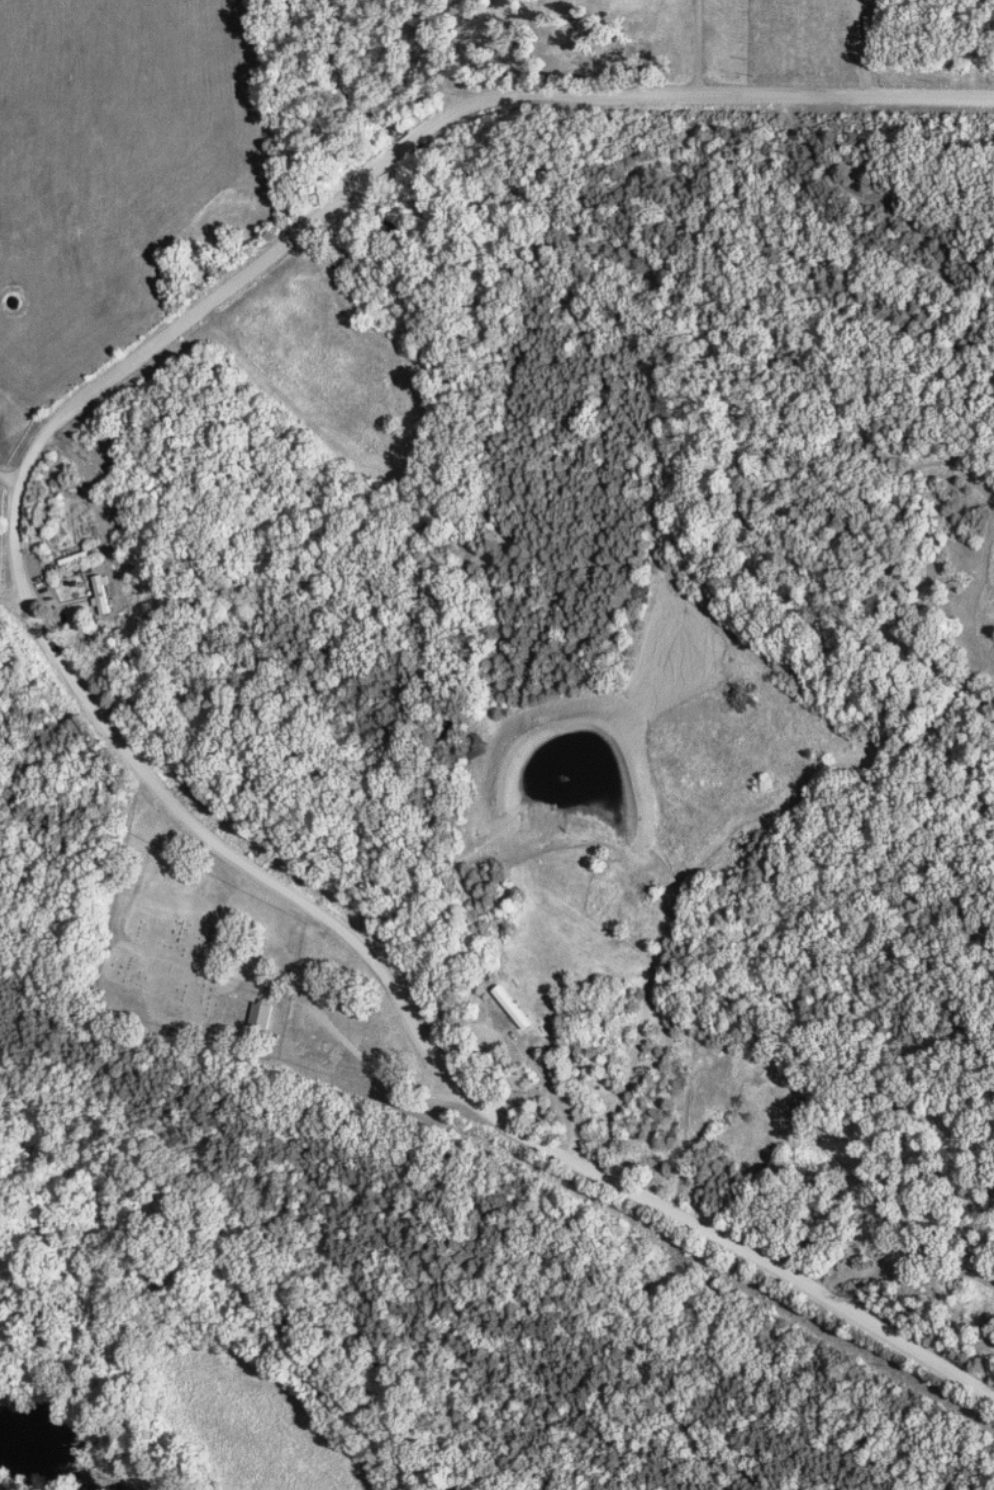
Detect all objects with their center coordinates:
road: (862, 52)
road: (366, 334)
road: (94, 397)
road: (19, 469)
building: (105, 593)
road: (22, 606)
park: (197, 955)
building: (518, 1011)
building: (264, 1014)
road: (375, 1065)
road: (553, 1090)
road: (784, 1275)
river: (68, 1449)

